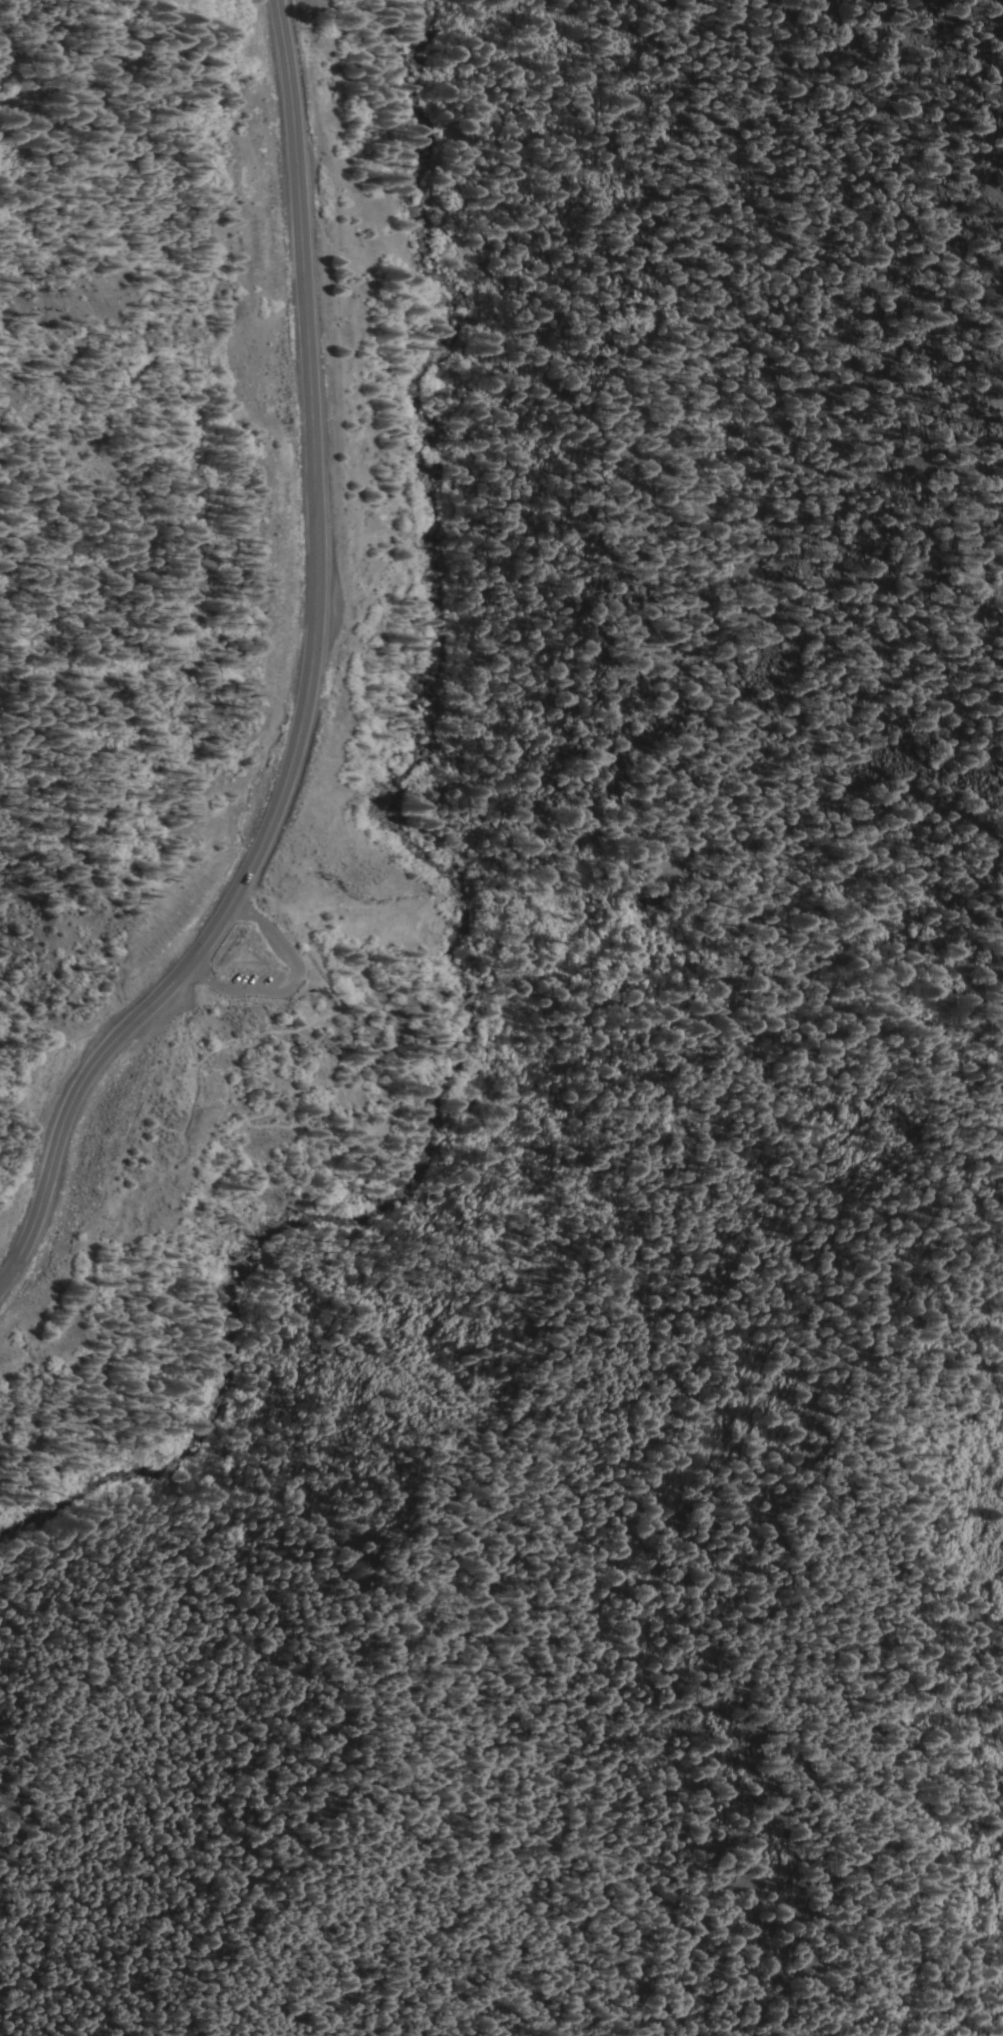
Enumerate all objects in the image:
road: (309, 687)
parking lot: (249, 958)
road: (286, 978)
road: (469, 997)
road: (590, 1004)
road: (223, 1097)

